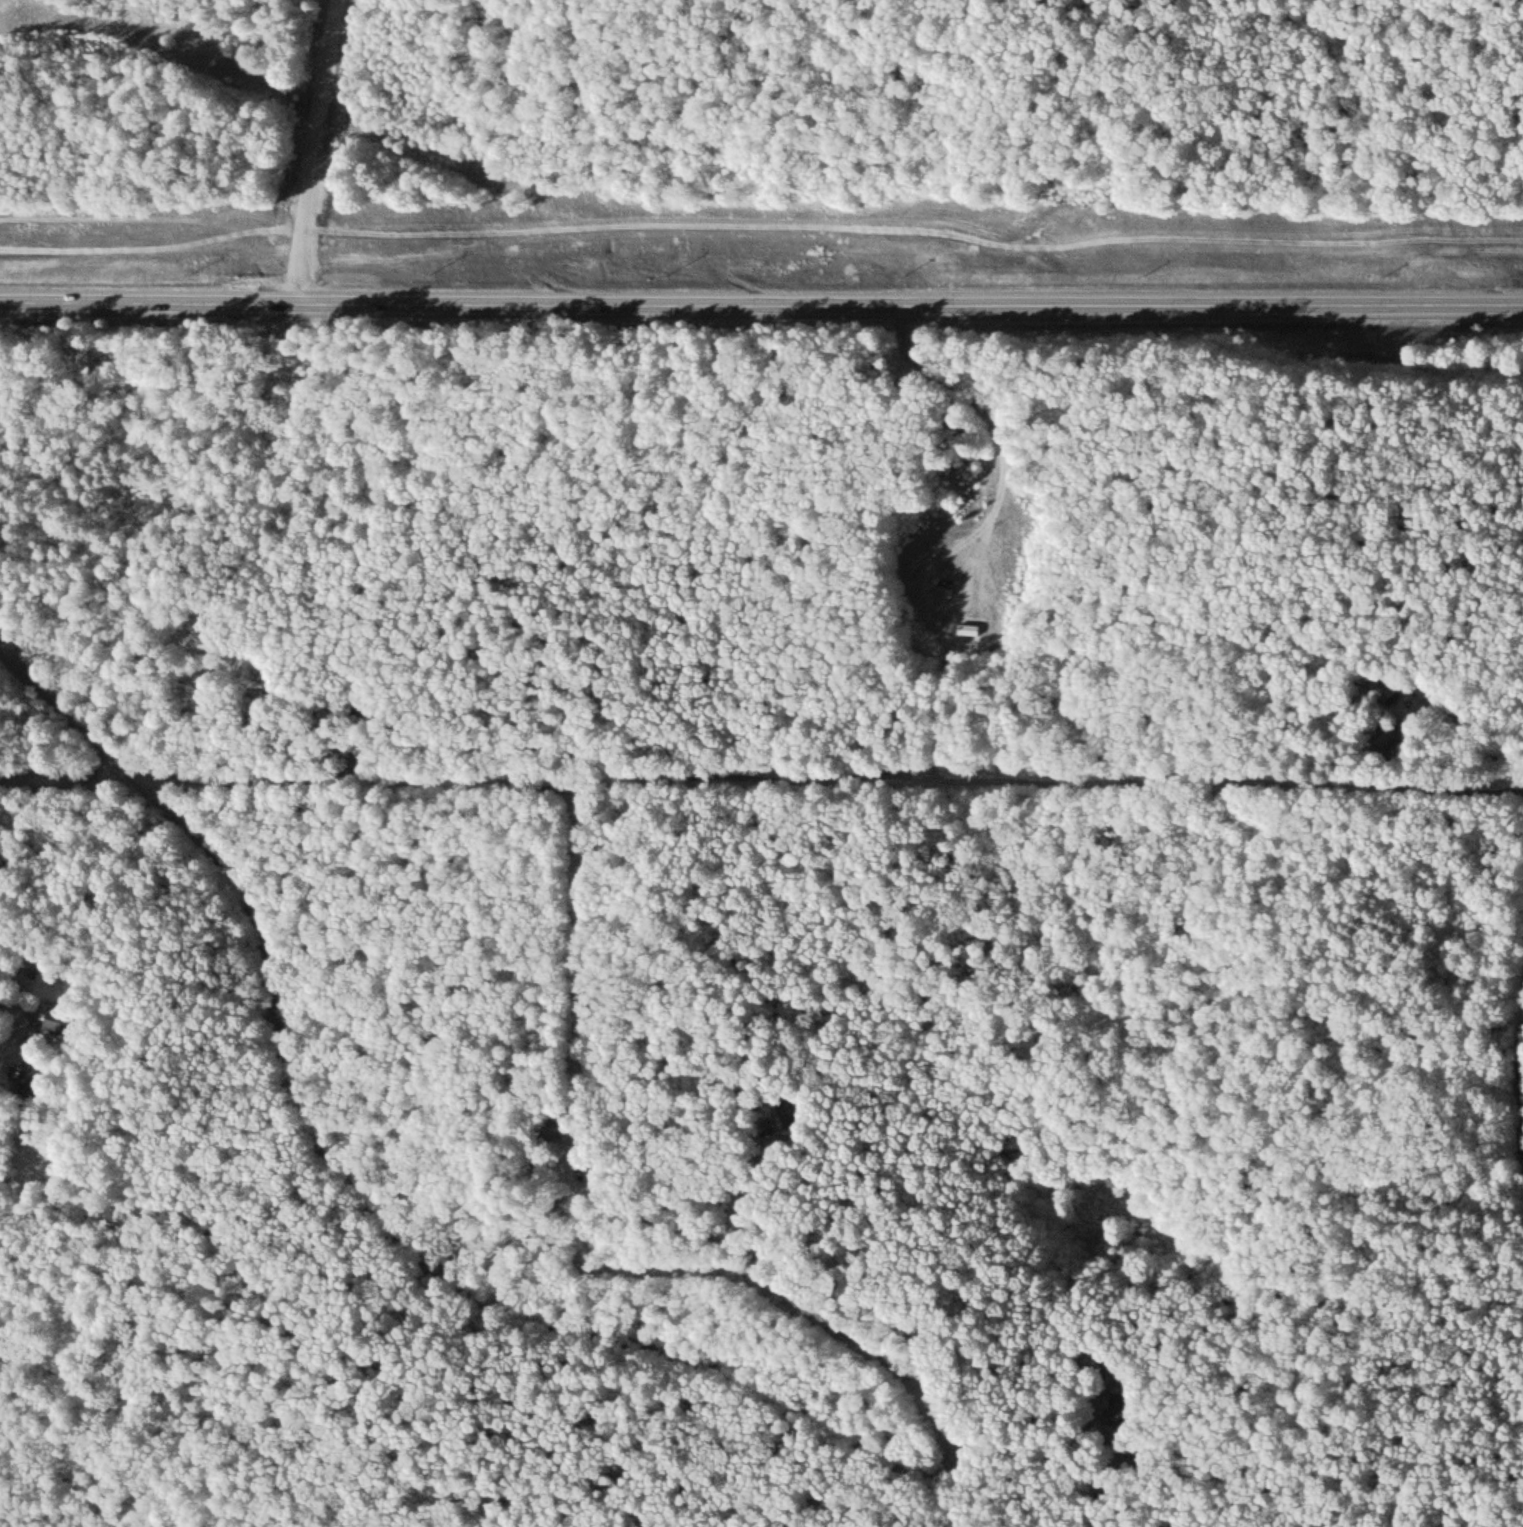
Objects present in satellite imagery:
road: (309, 153)
road: (761, 229)
road: (761, 310)
road: (999, 497)
petroleum well: (953, 585)
road: (1477, 735)
road: (1522, 1118)
road: (374, 1202)
road: (841, 1277)

